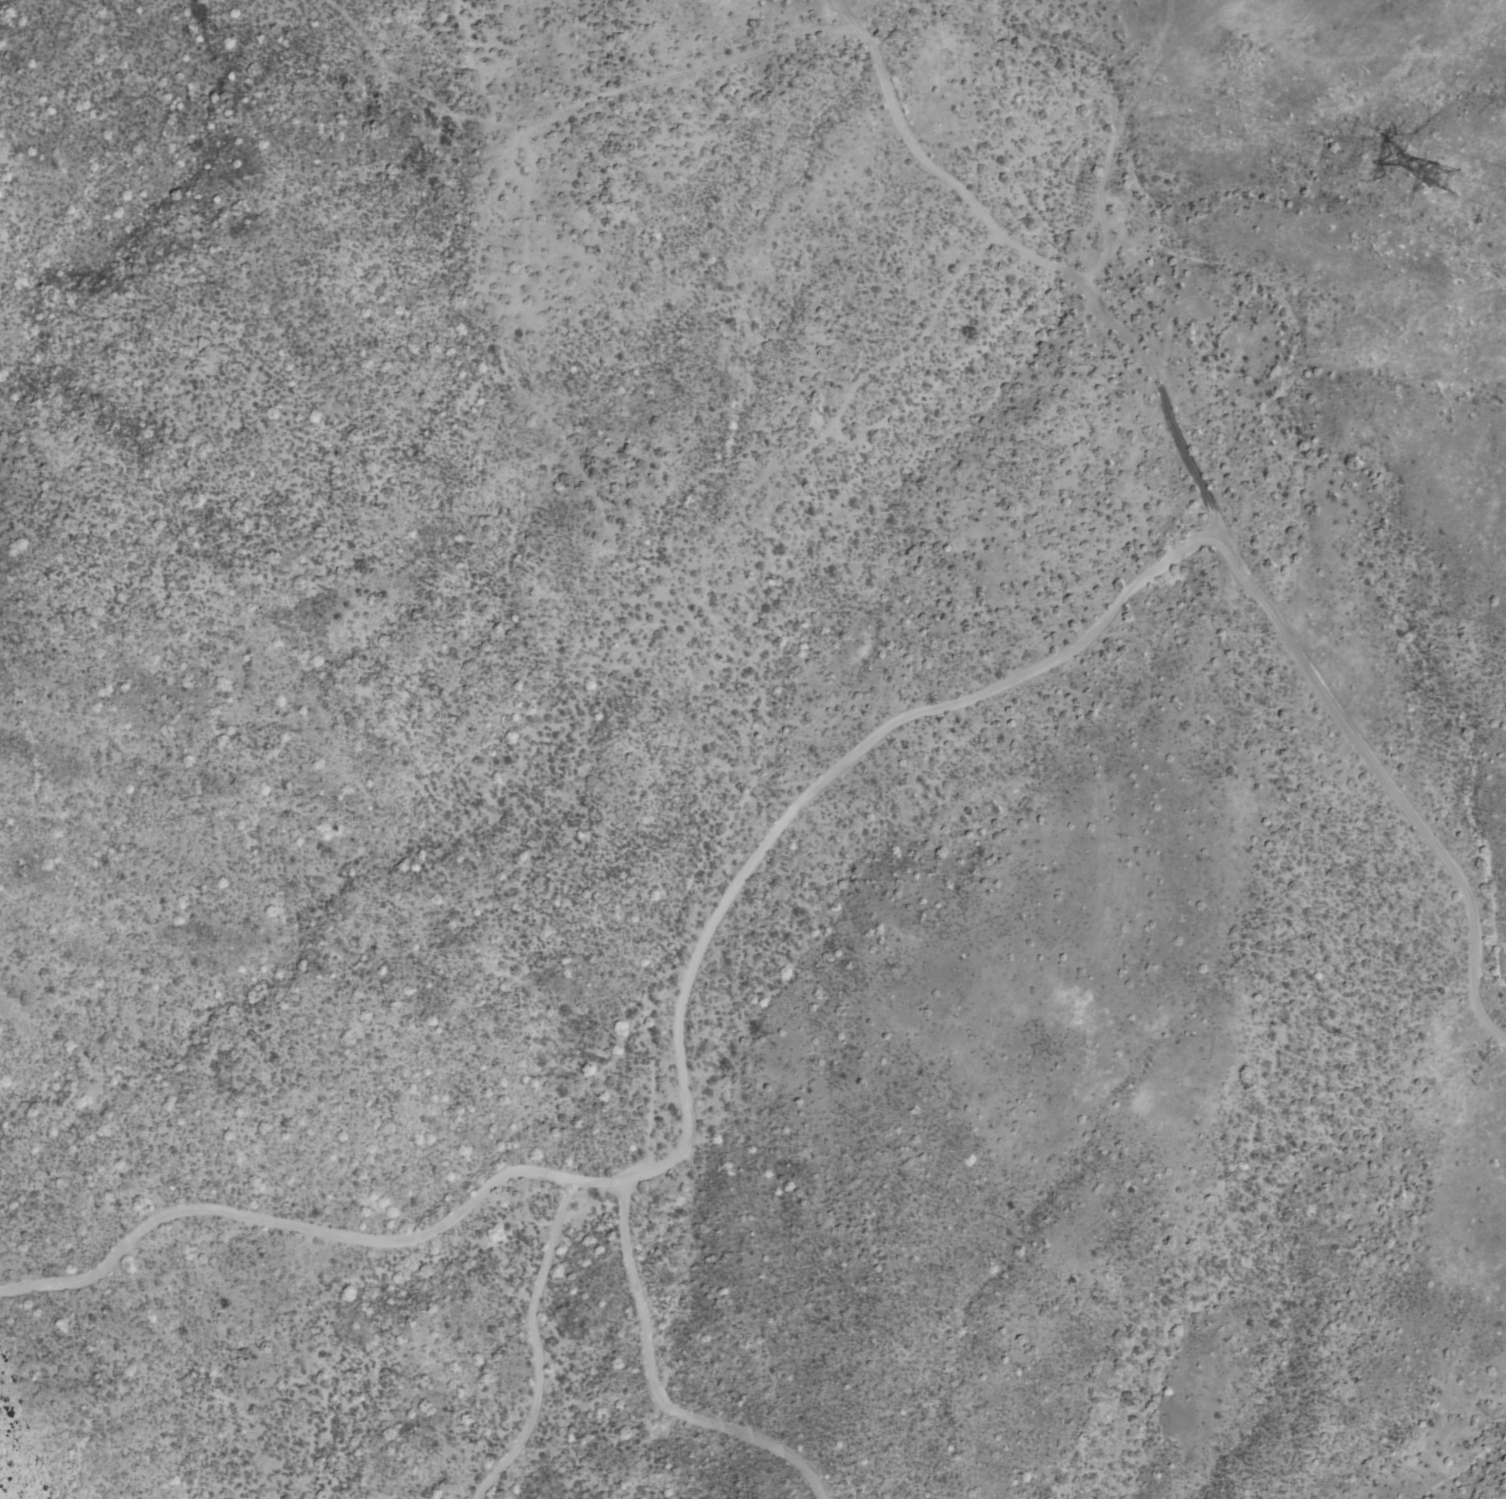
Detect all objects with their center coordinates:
power tower: (1455, 182)

